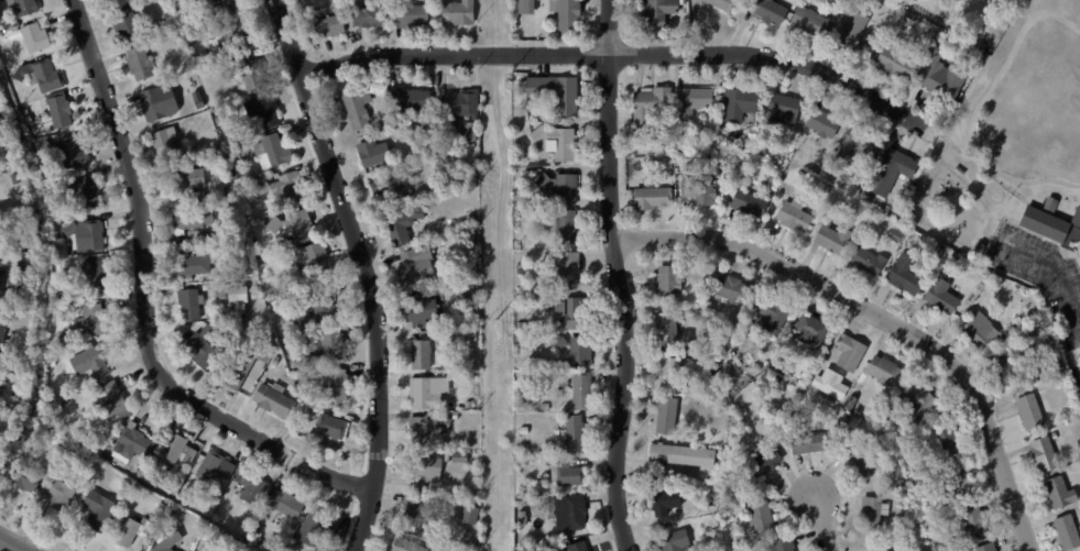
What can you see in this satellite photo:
building: (109, 0)
building: (848, 1)
building: (991, 1)
building: (1008, 2)
building: (720, 4)
building: (525, 7)
building: (24, 8)
building: (225, 8)
building: (892, 9)
building: (766, 11)
building: (461, 13)
building: (413, 14)
building: (654, 14)
building: (947, 14)
building: (375, 15)
building: (570, 15)
building: (808, 21)
building: (127, 23)
building: (901, 24)
power tower: (495, 26)
building: (7, 27)
building: (329, 27)
building: (181, 34)
building: (855, 36)
building: (37, 38)
building: (240, 40)
building: (982, 45)
building: (970, 49)
road: (617, 55)
building: (896, 60)
building: (142, 64)
building: (43, 76)
building: (250, 76)
building: (940, 79)
building: (558, 92)
building: (201, 100)
building: (415, 101)
building: (690, 101)
building: (738, 102)
building: (162, 103)
building: (363, 104)
building: (461, 108)
building: (647, 108)
building: (781, 108)
building: (62, 111)
building: (266, 111)
building: (206, 115)
building: (221, 119)
building: (820, 121)
building: (392, 123)
building: (667, 128)
building: (412, 129)
building: (473, 132)
building: (753, 133)
building: (427, 136)
building: (455, 137)
building: (559, 143)
building: (168, 144)
building: (741, 144)
building: (855, 145)
building: (405, 151)
building: (70, 153)
building: (276, 153)
building: (375, 155)
building: (891, 158)
building: (731, 162)
building: (925, 169)
building: (959, 170)
building: (474, 172)
building: (803, 173)
building: (227, 174)
building: (239, 175)
building: (17, 179)
road: (131, 181)
building: (699, 185)
building: (189, 186)
building: (564, 187)
building: (392, 188)
building: (854, 188)
building: (286, 189)
building: (86, 191)
building: (648, 196)
building: (1049, 202)
building: (748, 203)
building: (794, 216)
building: (1077, 218)
building: (959, 221)
building: (58, 222)
building: (1043, 222)
building: (194, 223)
building: (277, 225)
building: (304, 227)
building: (406, 227)
building: (567, 227)
building: (22, 229)
building: (951, 233)
building: (895, 234)
building: (89, 236)
building: (831, 239)
building: (909, 241)
building: (2, 247)
building: (975, 252)
building: (25, 258)
building: (864, 260)
building: (194, 264)
building: (313, 265)
road: (1054, 265)
building: (419, 266)
building: (440, 268)
road: (363, 271)
building: (524, 271)
building: (72, 272)
building: (251, 272)
building: (571, 272)
building: (98, 274)
building: (903, 275)
road: (613, 276)
building: (672, 283)
building: (470, 284)
building: (995, 286)
building: (2, 290)
building: (268, 290)
building: (737, 291)
building: (413, 293)
building: (216, 294)
building: (938, 296)
building: (57, 298)
building: (193, 306)
building: (325, 306)
building: (477, 308)
building: (112, 311)
building: (424, 311)
building: (572, 313)
building: (776, 316)
power tower: (497, 320)
building: (94, 322)
road: (877, 322)
building: (293, 326)
building: (669, 330)
building: (814, 331)
building: (977, 332)
building: (3, 338)
building: (446, 341)
building: (722, 341)
building: (204, 348)
building: (327, 351)
building: (578, 352)
building: (854, 354)
building: (54, 355)
building: (424, 356)
building: (277, 362)
building: (53, 363)
building: (94, 363)
building: (249, 363)
building: (218, 365)
building: (785, 365)
building: (761, 367)
building: (1005, 367)
building: (886, 371)
building: (676, 376)
building: (830, 383)
building: (1, 387)
building: (338, 388)
building: (98, 393)
building: (585, 393)
building: (432, 394)
building: (54, 396)
building: (841, 398)
building: (274, 400)
building: (313, 401)
building: (921, 401)
building: (117, 403)
building: (877, 403)
building: (852, 404)
building: (463, 406)
building: (547, 407)
building: (18, 409)
building: (861, 411)
building: (1028, 411)
building: (895, 412)
building: (745, 414)
building: (457, 416)
building: (670, 417)
building: (308, 419)
building: (850, 419)
building: (294, 420)
building: (543, 420)
building: (330, 430)
building: (430, 430)
building: (525, 431)
building: (579, 432)
building: (1054, 436)
road: (259, 437)
building: (945, 443)
building: (1078, 443)
building: (812, 444)
building: (134, 445)
building: (178, 451)
building: (1041, 454)
building: (450, 458)
building: (685, 458)
building: (463, 459)
building: (864, 460)
building: (767, 461)
building: (107, 462)
building: (187, 470)
building: (218, 470)
building: (428, 472)
building: (570, 476)
building: (912, 476)
building: (25, 477)
building: (253, 488)
building: (905, 488)
building: (923, 488)
building: (960, 488)
building: (1057, 492)
building: (62, 495)
building: (717, 495)
building: (667, 499)
building: (287, 505)
building: (716, 506)
building: (524, 508)
building: (101, 511)
building: (571, 514)
building: (876, 515)
building: (471, 516)
building: (424, 519)
building: (762, 519)
building: (524, 520)
building: (948, 524)
road: (822, 525)
building: (977, 525)
building: (318, 528)
building: (258, 531)
building: (134, 532)
building: (1065, 532)
building: (171, 539)
building: (524, 541)
building: (677, 542)
building: (273, 543)
building: (954, 543)
building: (239, 544)
building: (785, 546)
road: (7, 547)
building: (410, 547)
building: (580, 547)
building: (990, 548)
building: (207, 549)
building: (884, 549)
building: (949, 549)
building: (528, 550)
building: (943, 550)

